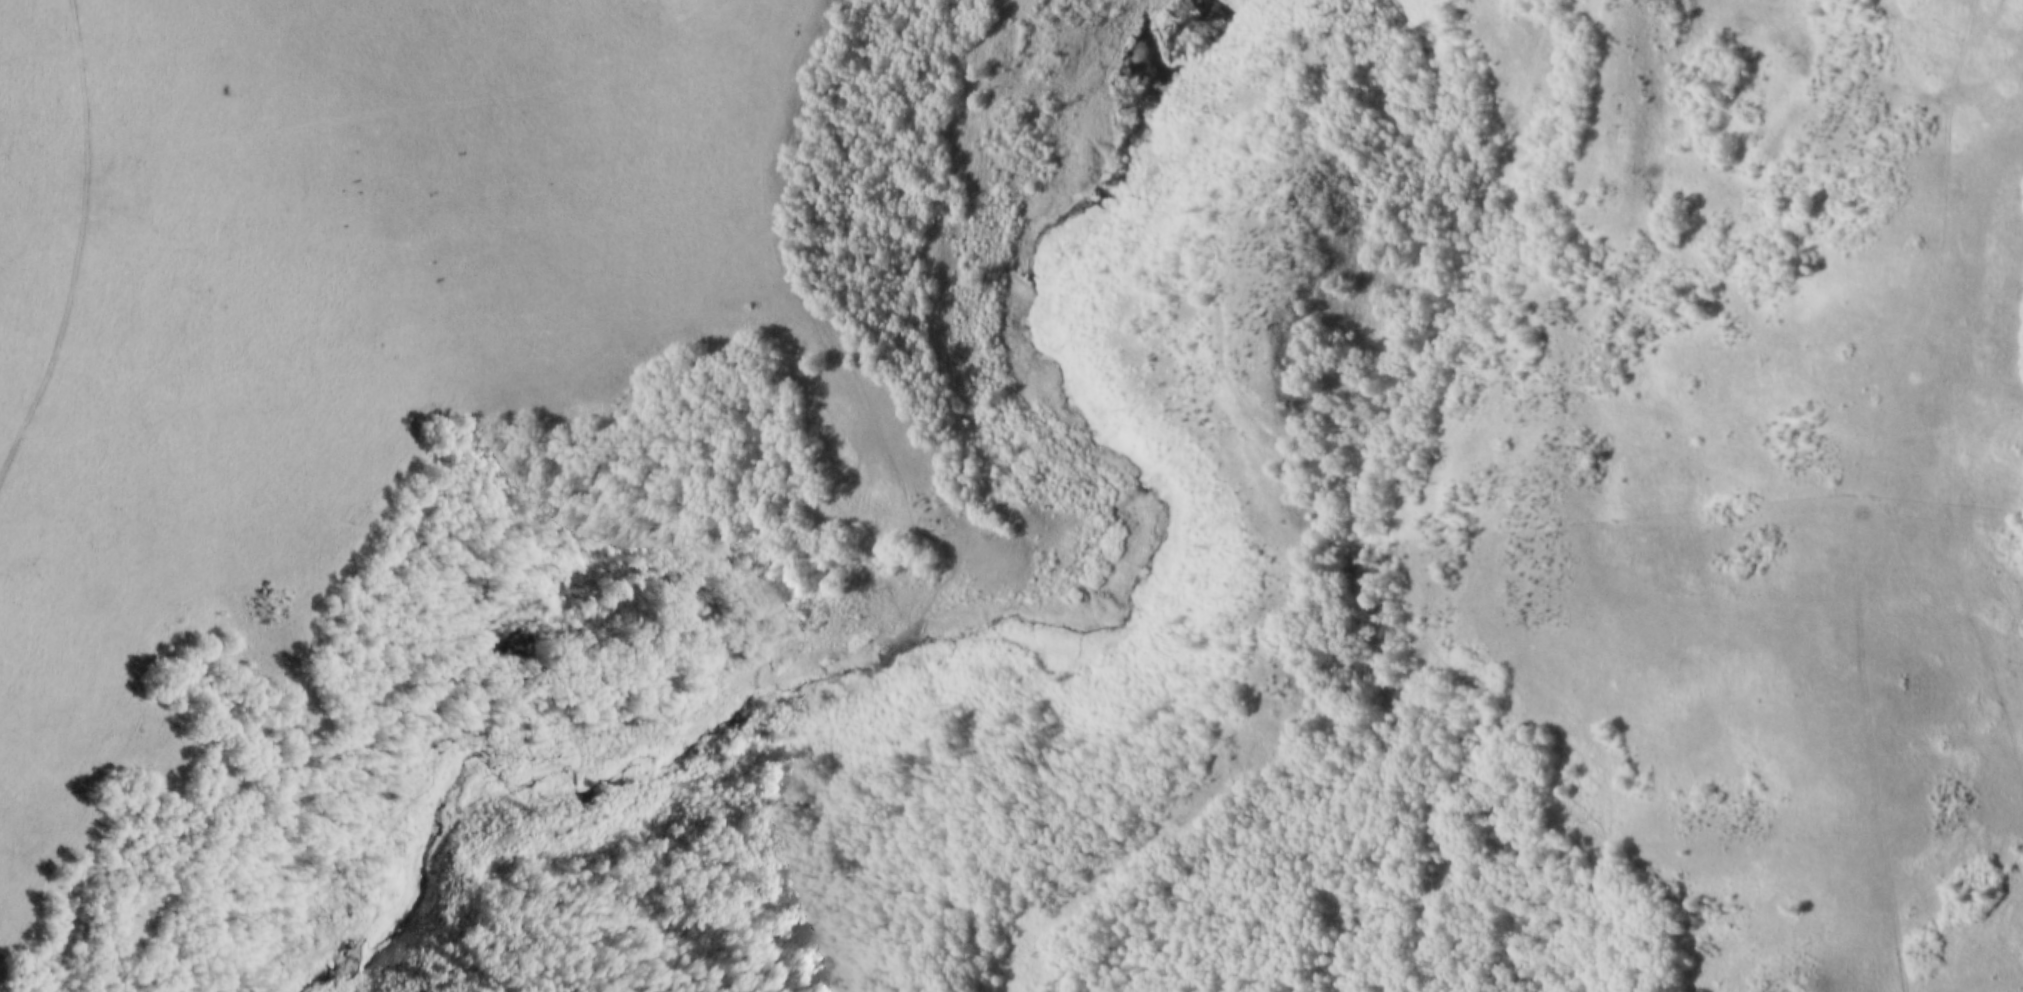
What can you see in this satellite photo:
road: (1841, 590)

